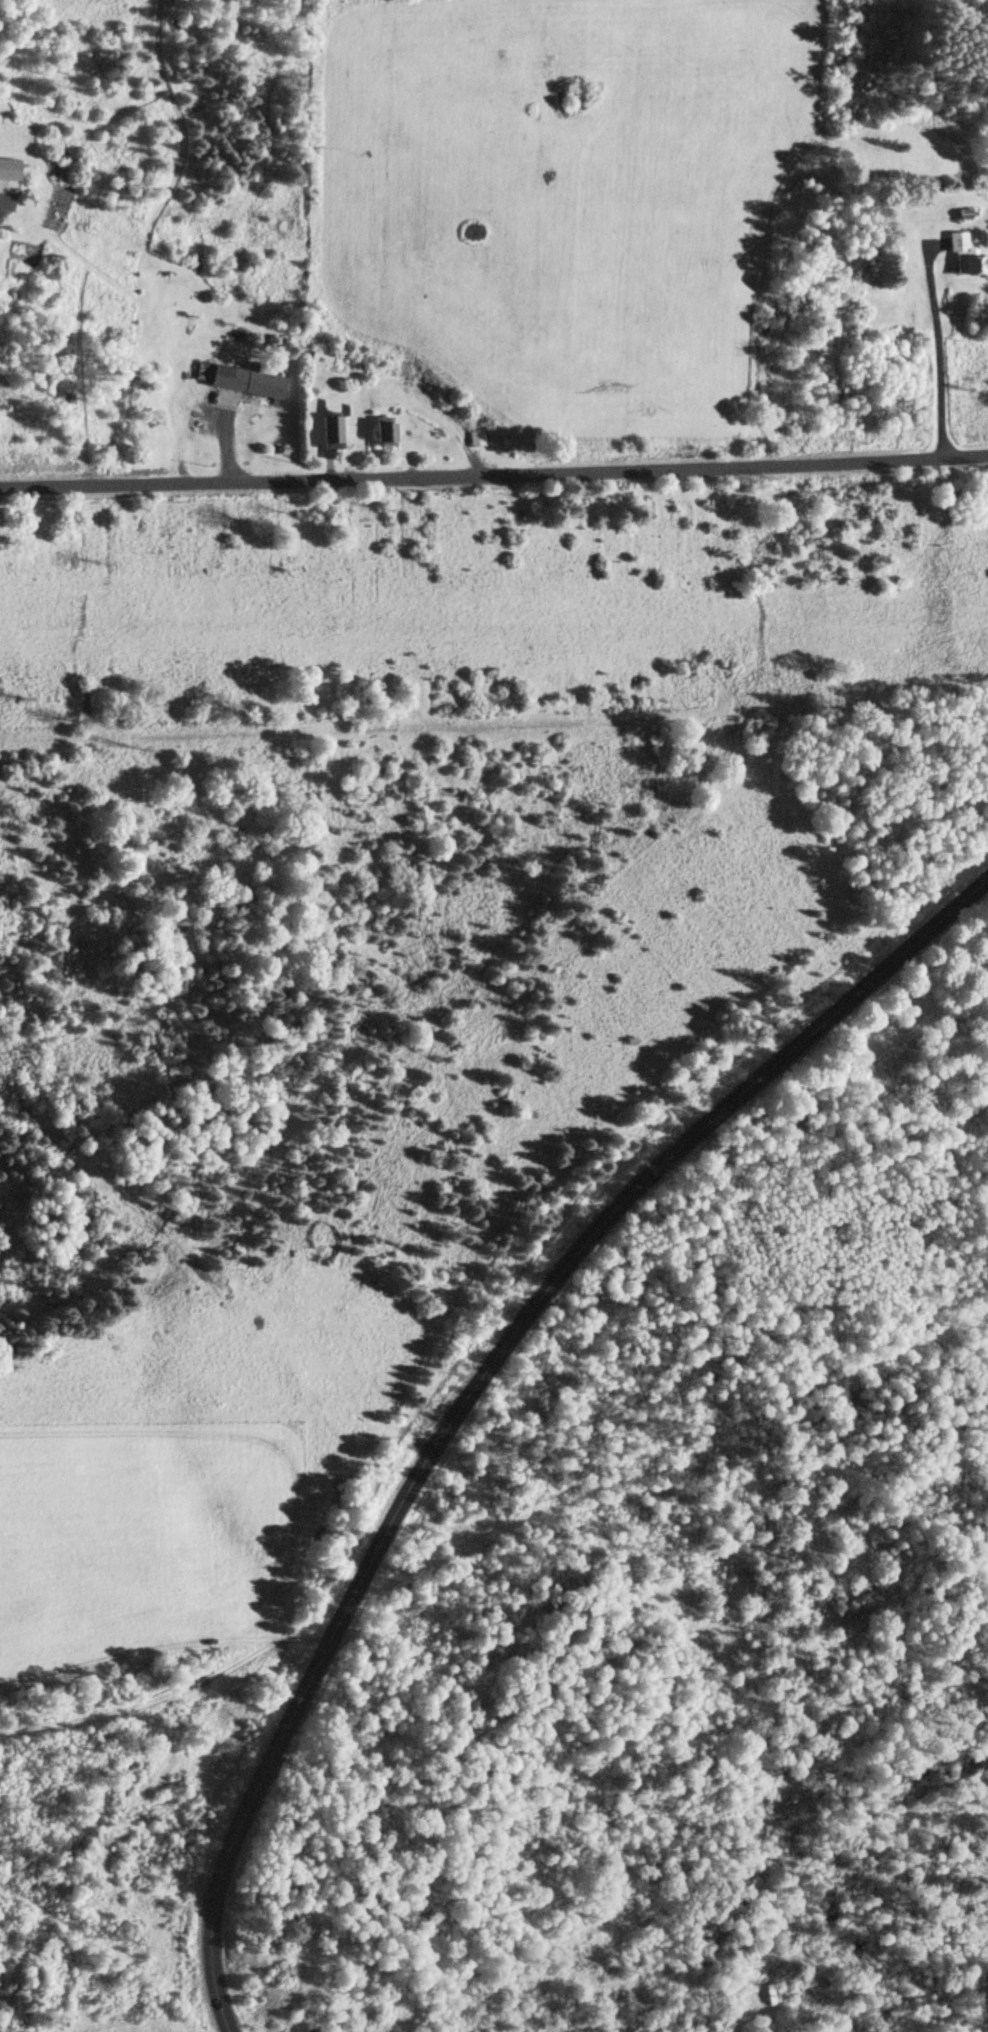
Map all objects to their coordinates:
building: (962, 260)
building: (251, 379)
building: (393, 432)
building: (337, 434)
building: (480, 437)
road: (494, 492)
road: (470, 1380)

